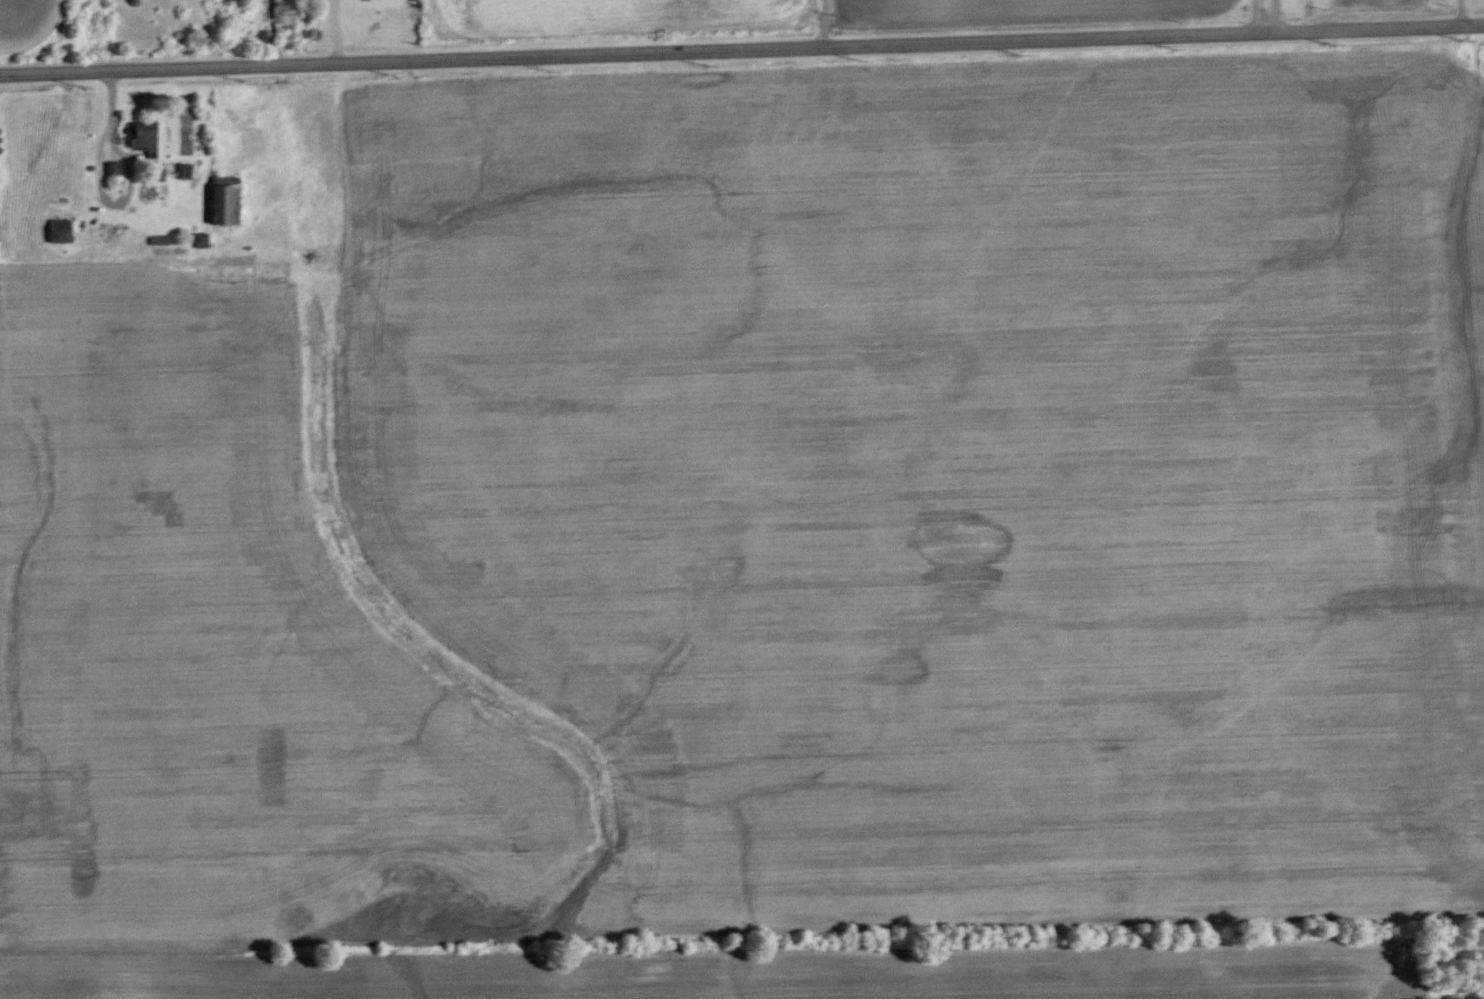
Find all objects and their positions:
road: (1256, 14)
road: (823, 22)
road: (742, 47)
building: (146, 136)
building: (186, 170)
road: (93, 184)
building: (227, 200)
building: (62, 229)
building: (161, 239)
building: (203, 239)

